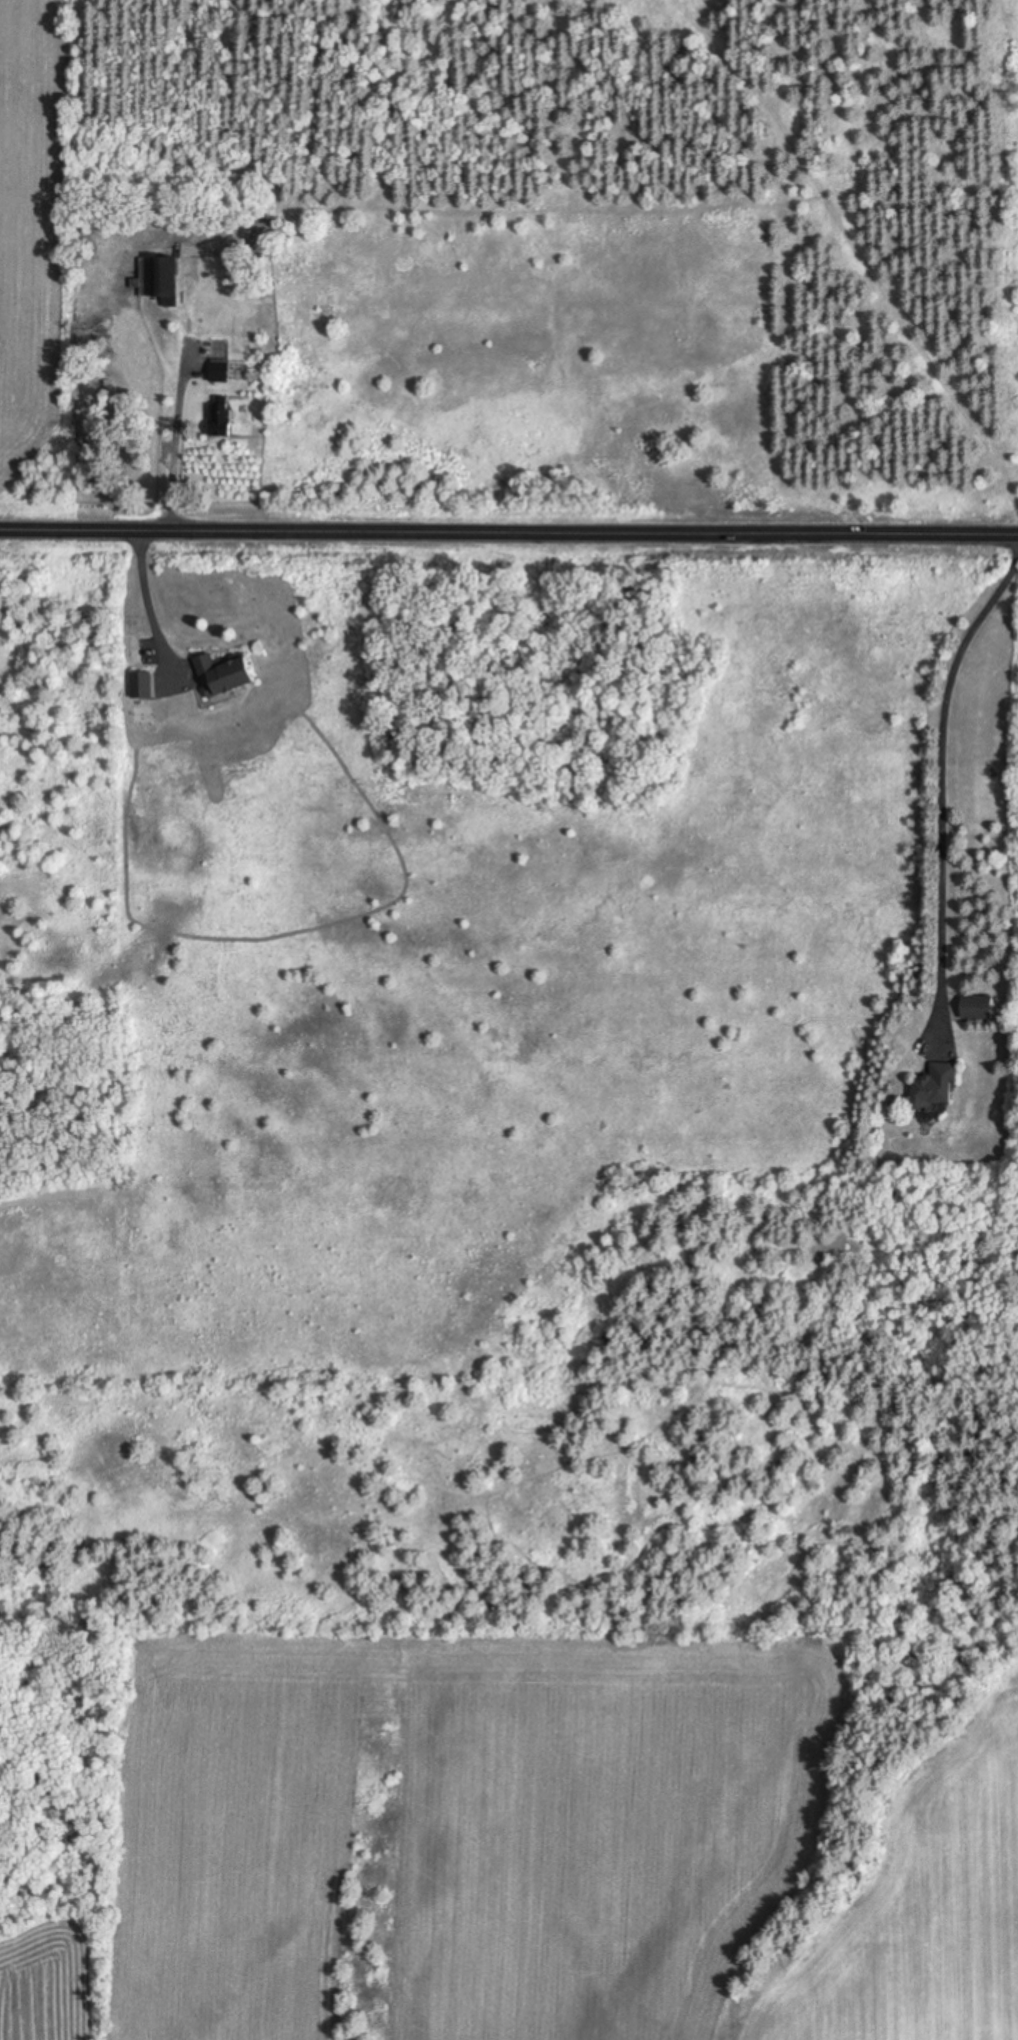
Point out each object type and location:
building: (157, 278)
building: (216, 372)
building: (217, 416)
road: (509, 526)
building: (219, 674)
building: (139, 685)
building: (973, 1008)
building: (931, 1086)

